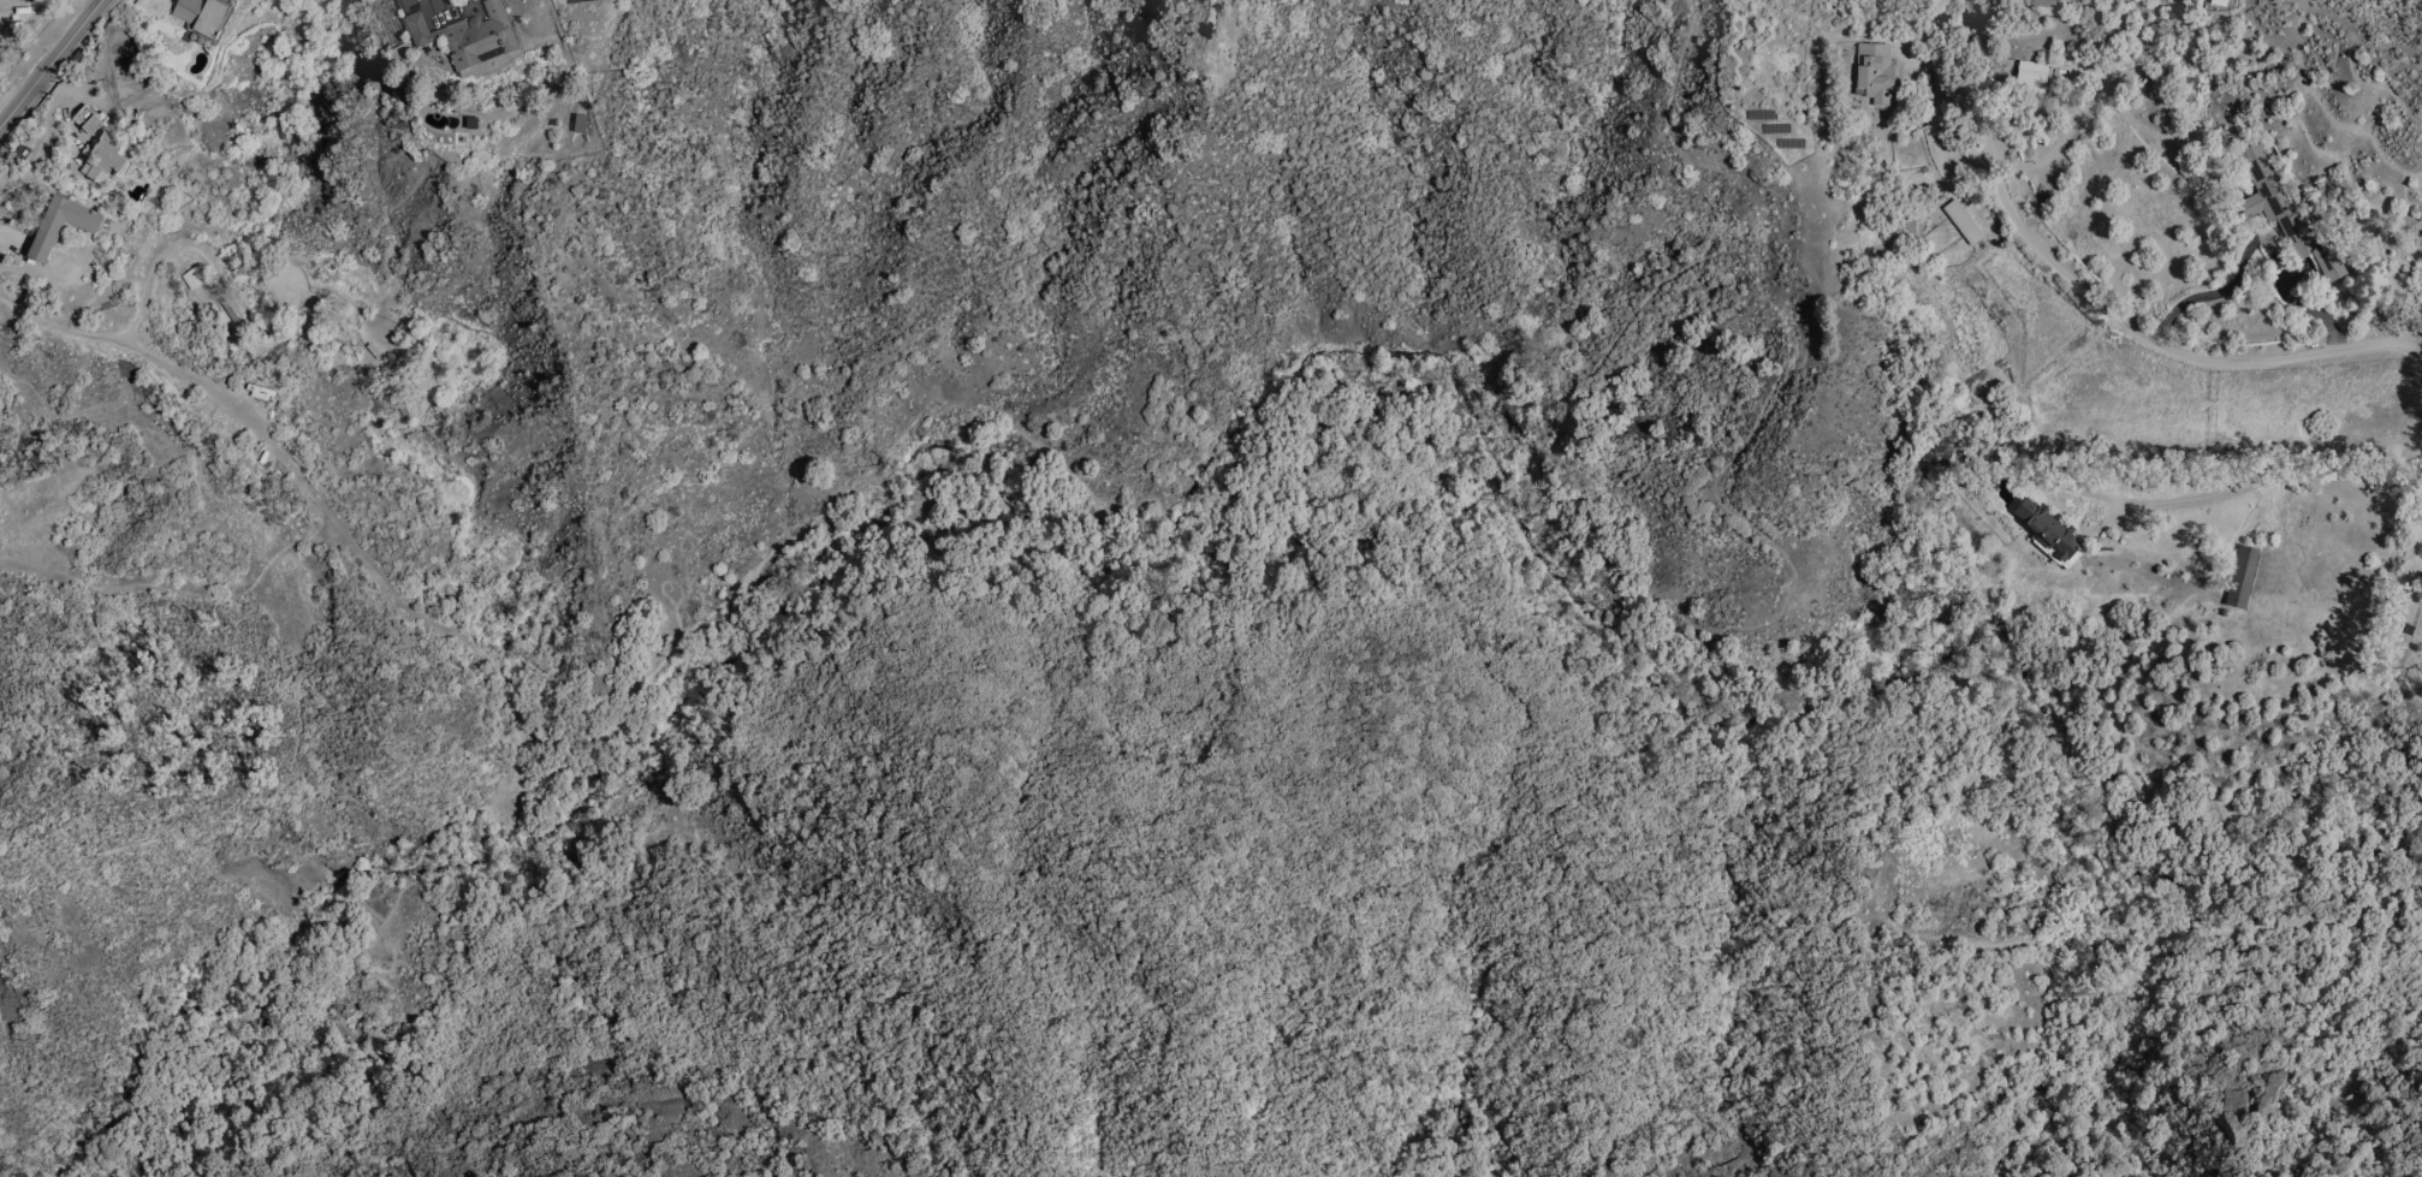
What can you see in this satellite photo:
building: (2042, 2)
building: (2220, 2)
building: (206, 20)
building: (468, 36)
road: (55, 67)
building: (1876, 73)
building: (2032, 78)
building: (89, 120)
building: (578, 124)
building: (107, 161)
building: (2286, 214)
building: (1964, 222)
building: (63, 225)
road: (2256, 237)
building: (194, 279)
road: (2101, 302)
building: (317, 343)
road: (133, 344)
building: (261, 392)
road: (2231, 498)
building: (2048, 530)
building: (2243, 578)

